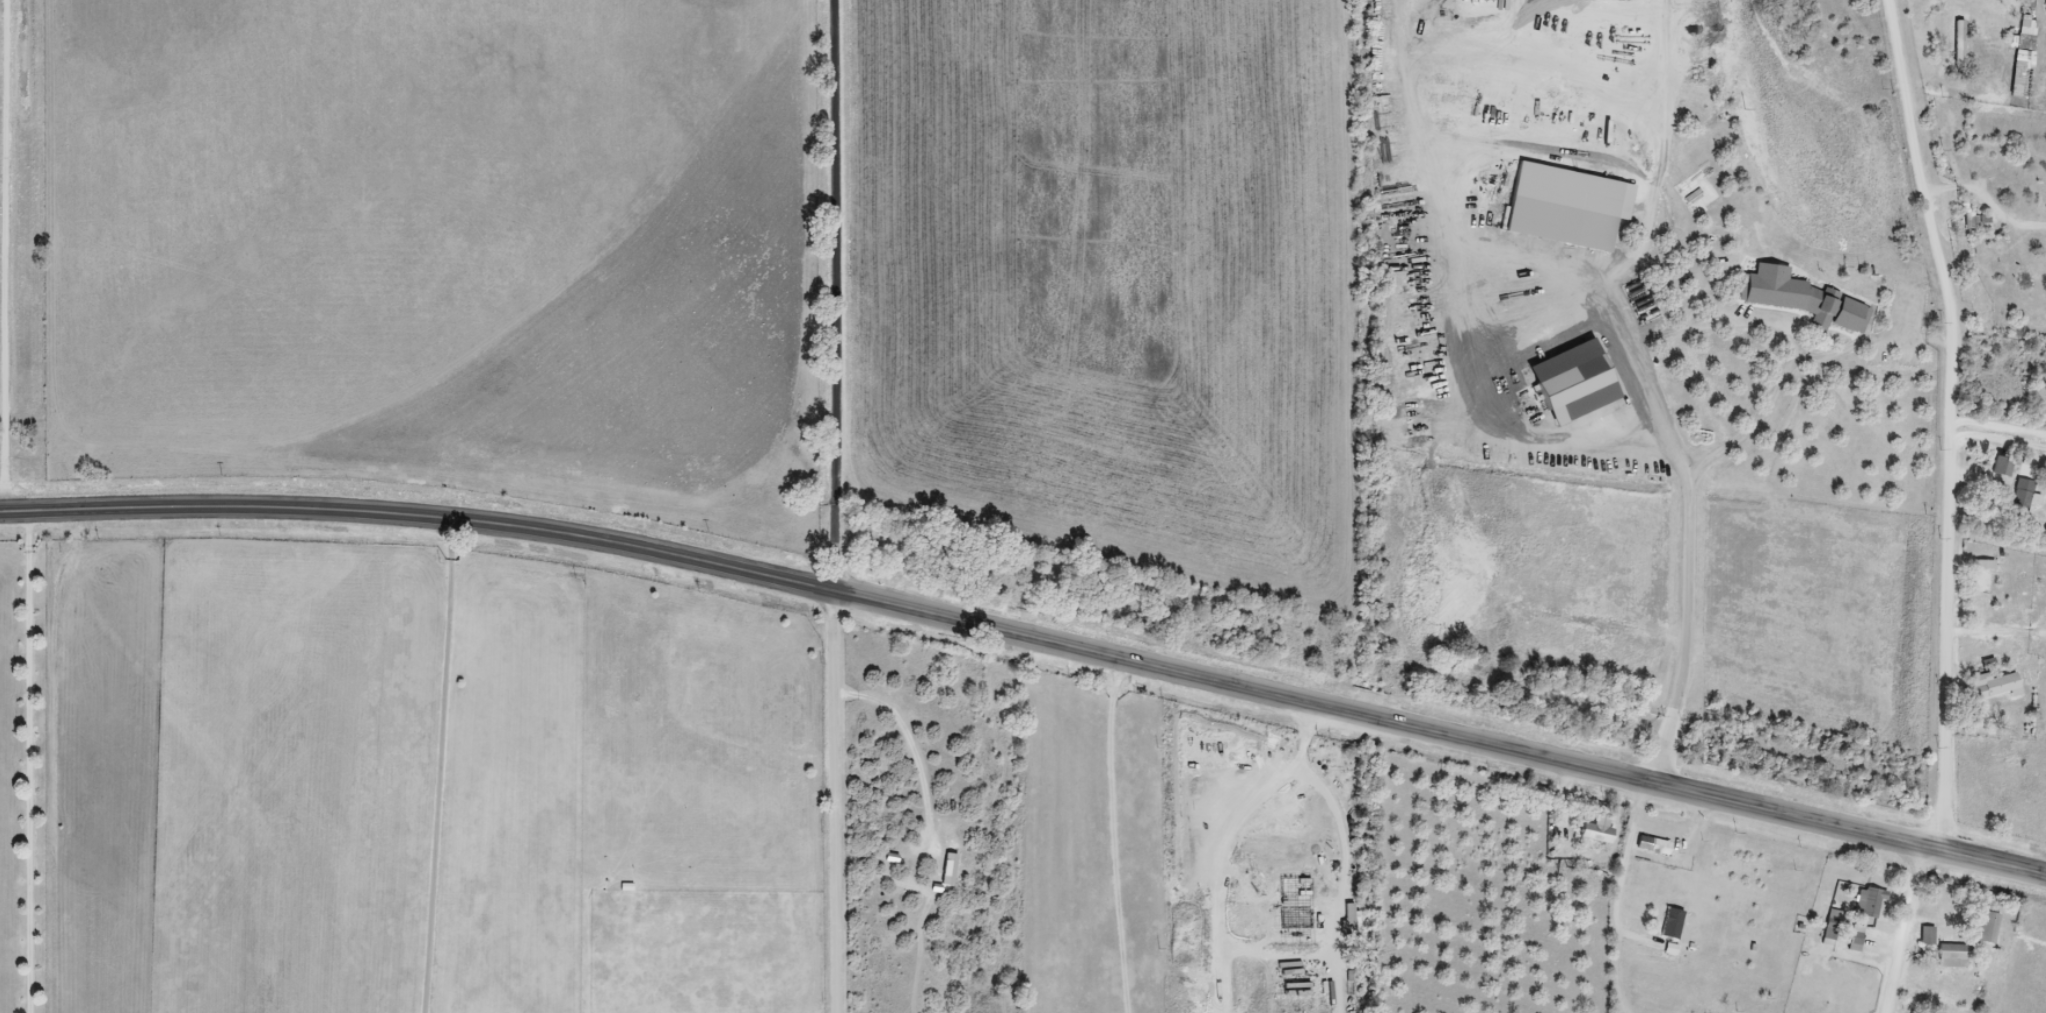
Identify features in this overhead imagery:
building: (2028, 25)
road: (1971, 33)
building: (1979, 221)
building: (1757, 280)
building: (1773, 293)
road: (838, 296)
building: (1838, 310)
road: (1720, 328)
road: (1497, 356)
road: (1953, 422)
road: (1999, 428)
road: (1999, 442)
building: (2005, 466)
road: (1695, 471)
building: (2024, 495)
building: (1986, 576)
road: (1029, 638)
building: (1994, 680)
road: (441, 765)
road: (835, 803)
building: (1601, 832)
building: (1664, 846)
road: (1540, 850)
road: (1399, 868)
building: (1874, 901)
building: (1676, 922)
building: (1836, 924)
building: (1992, 926)
road: (1906, 930)
building: (1931, 935)
building: (1859, 941)
road: (1241, 951)
building: (1957, 955)
road: (1342, 977)
road: (1232, 980)
building: (1926, 1012)

